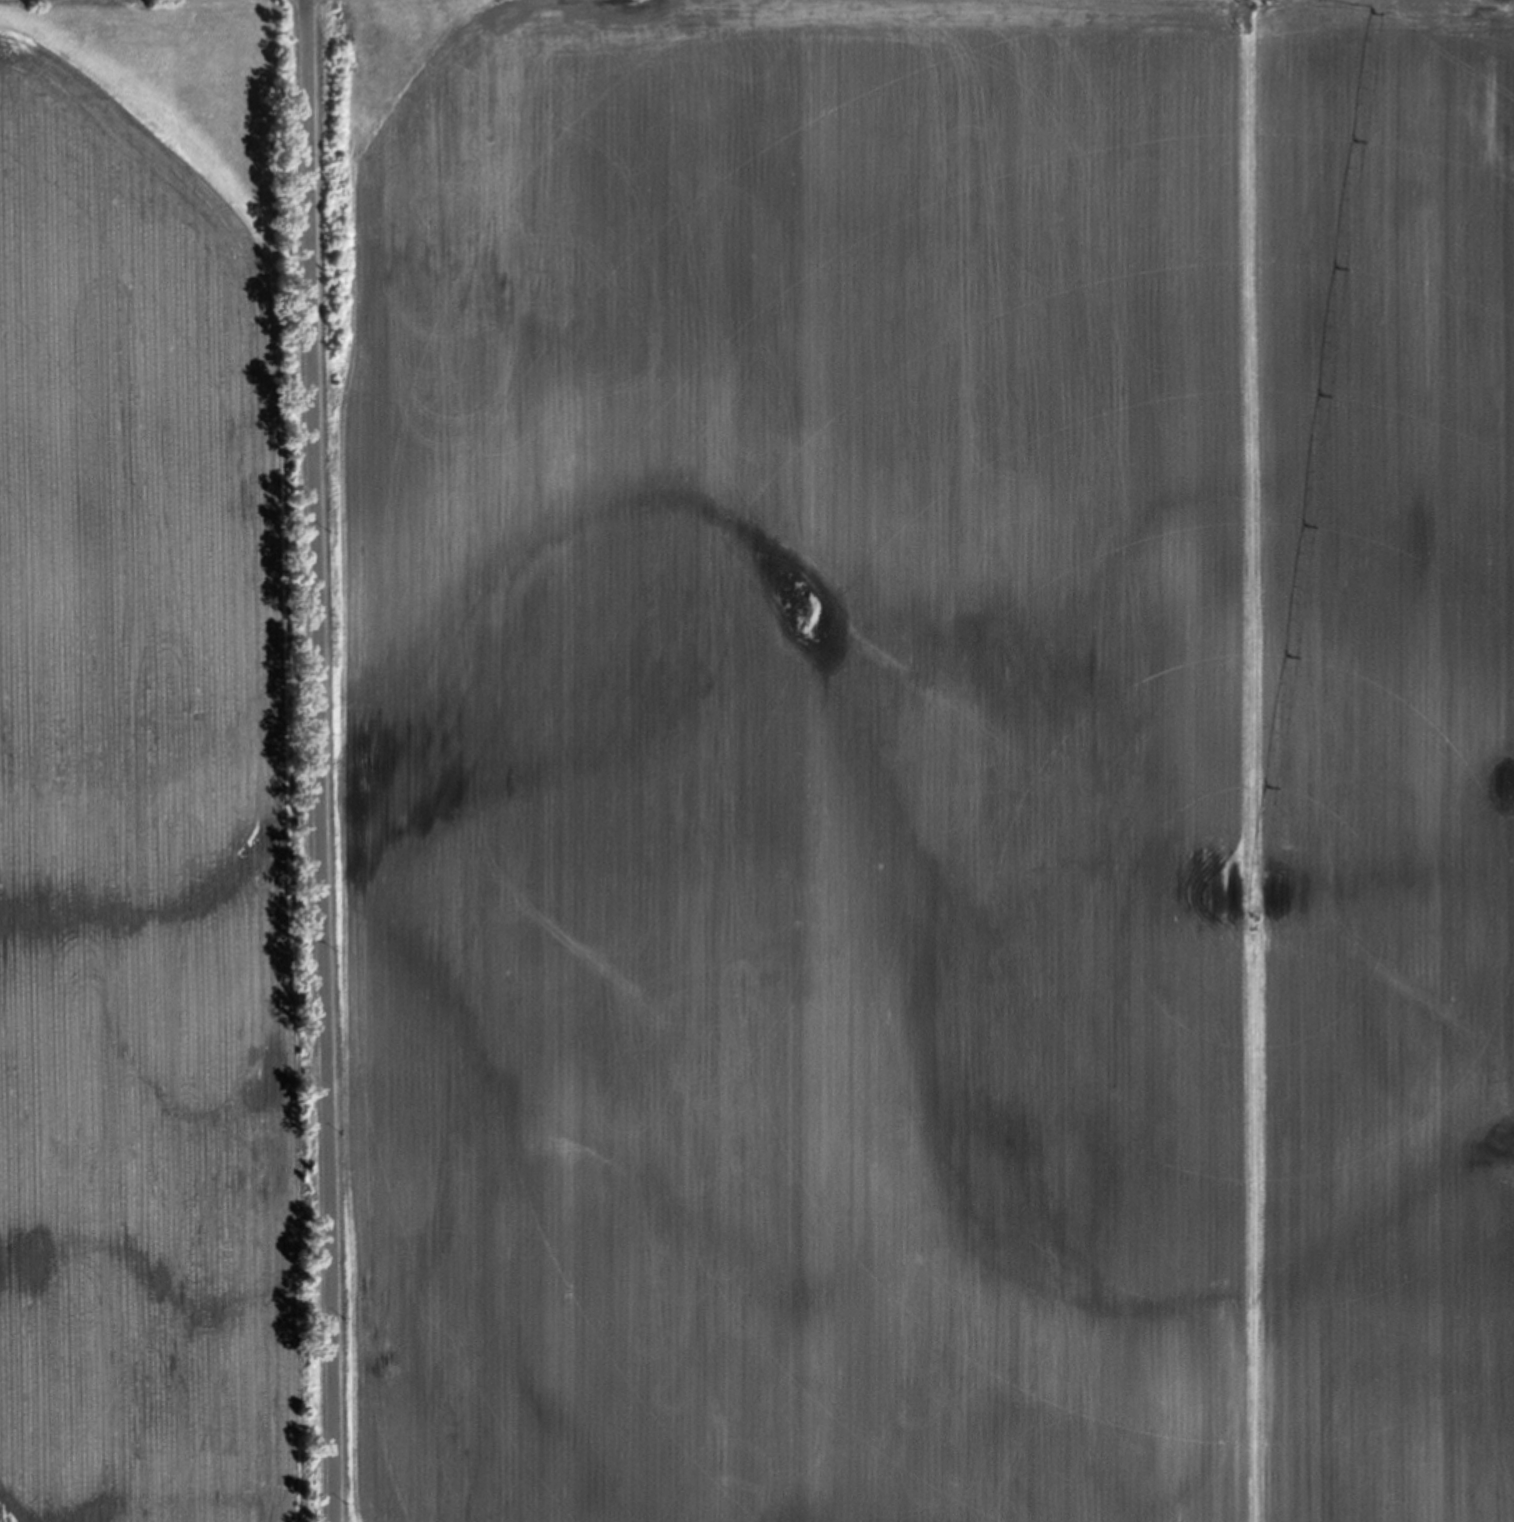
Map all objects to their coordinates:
road: (331, 760)

